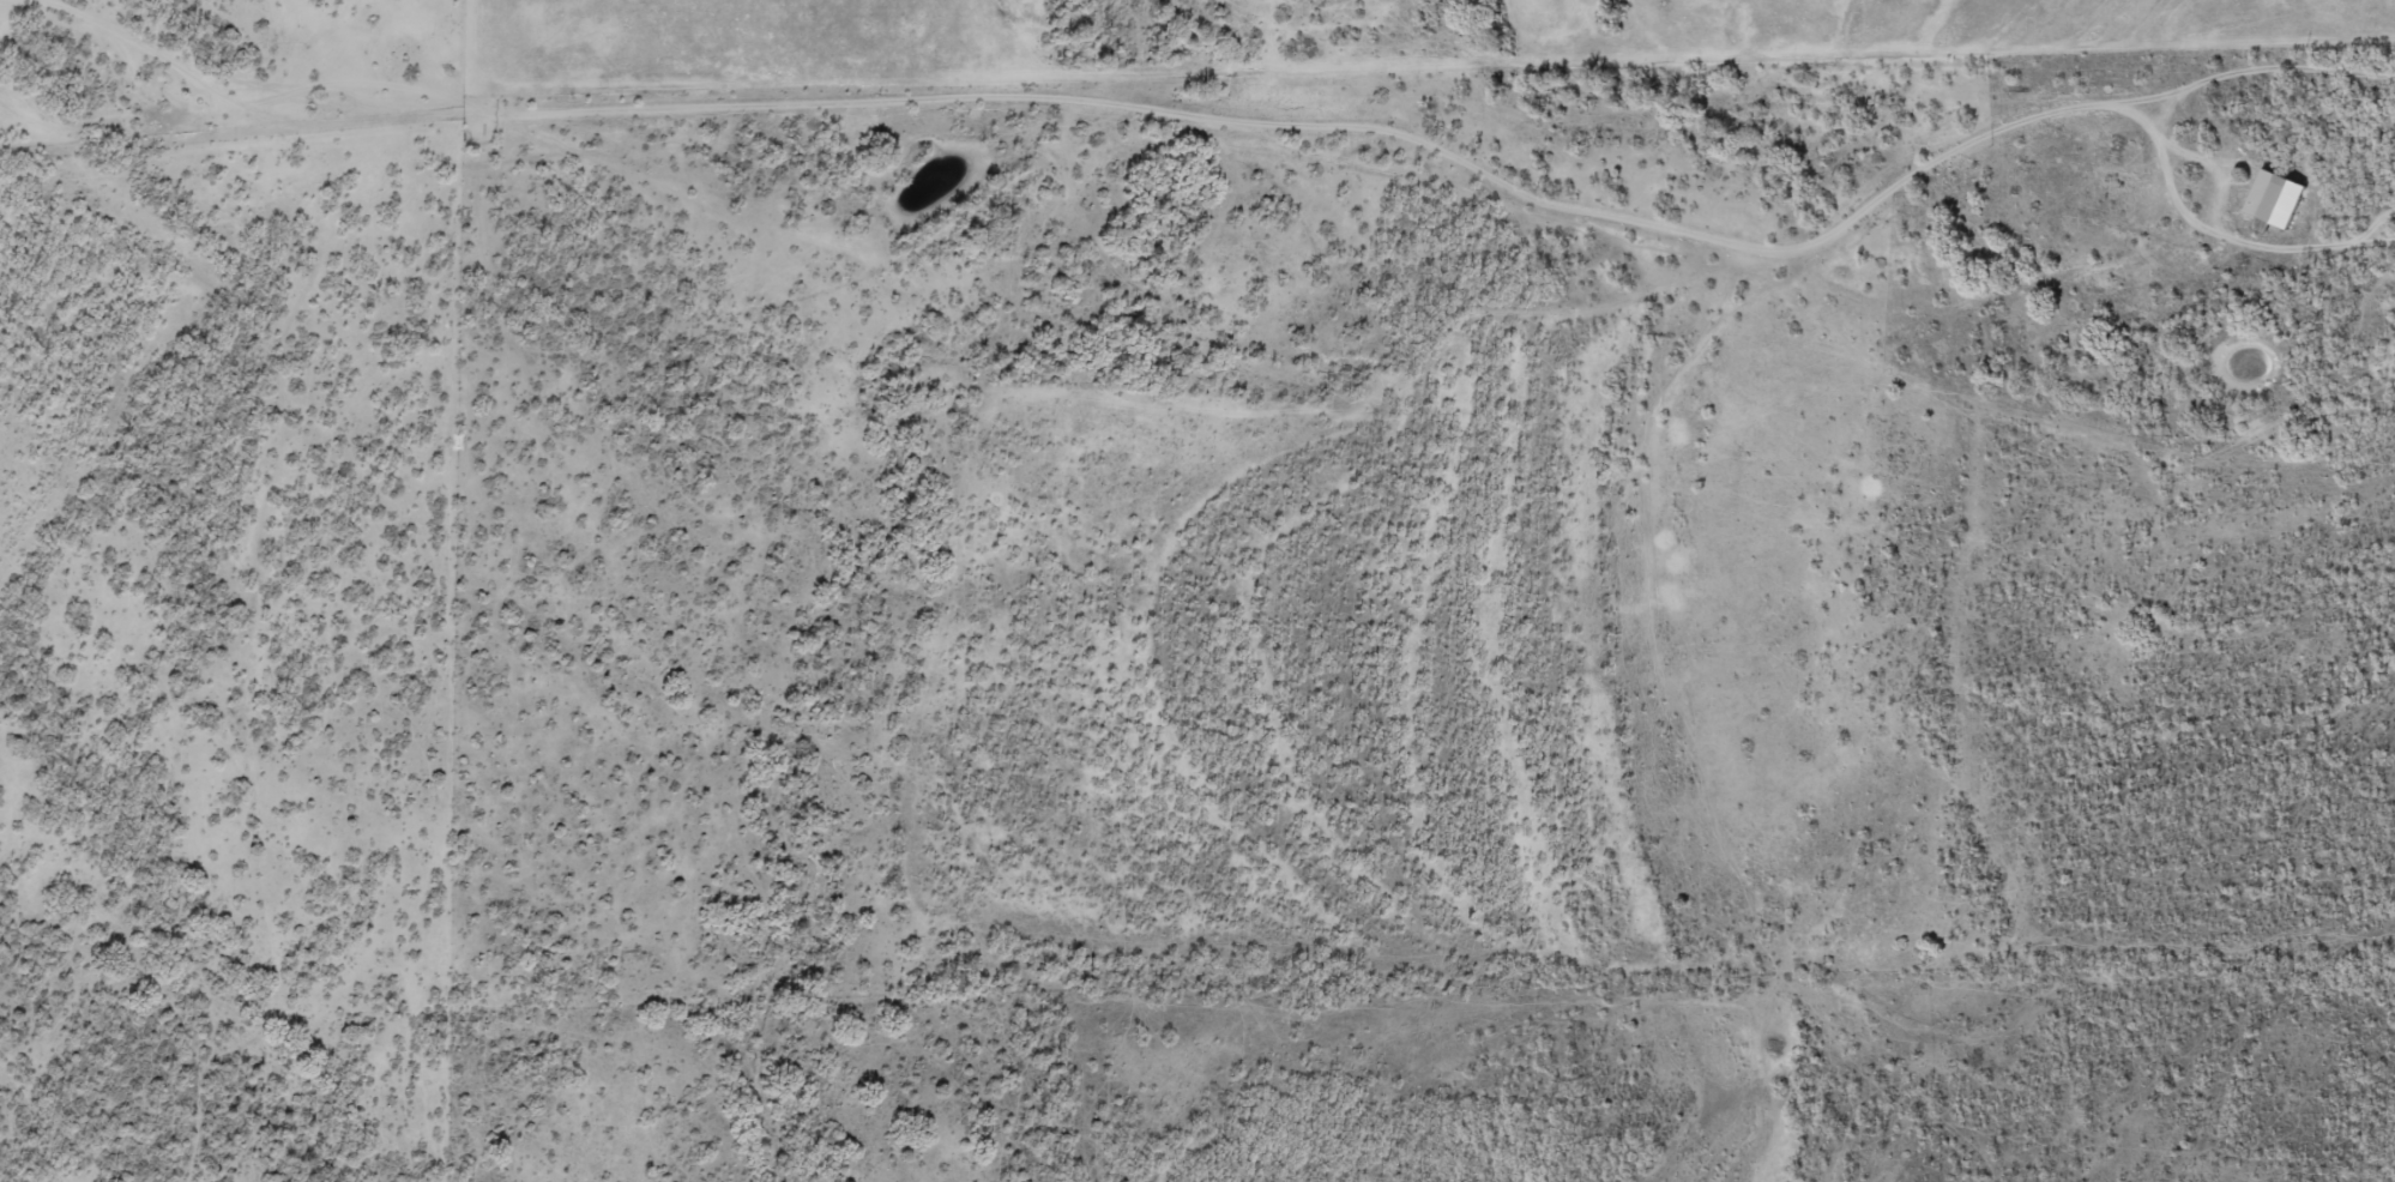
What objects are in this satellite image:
building: (2281, 197)

